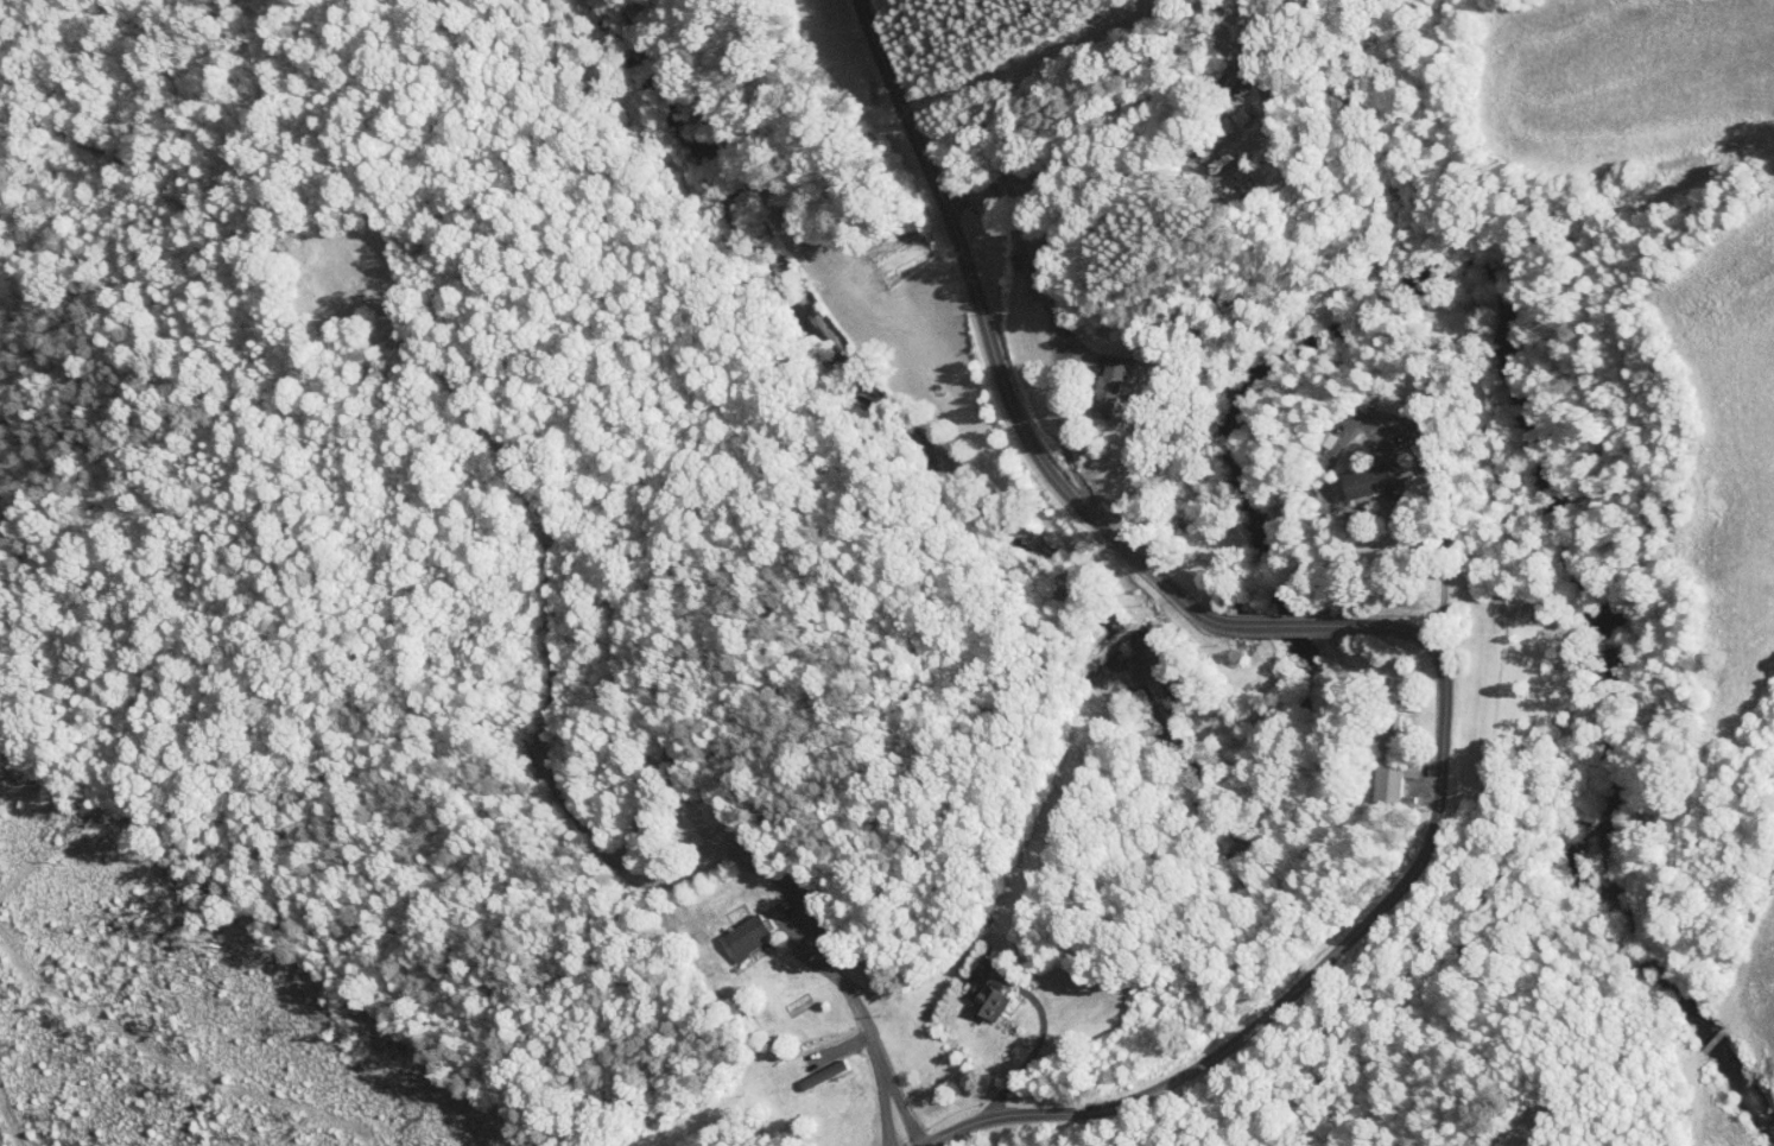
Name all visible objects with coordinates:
building: (1091, 379)
building: (1354, 473)
road: (1445, 509)
road: (1341, 634)
building: (1377, 770)
building: (728, 929)
road: (868, 971)
building: (972, 994)
building: (806, 1066)

